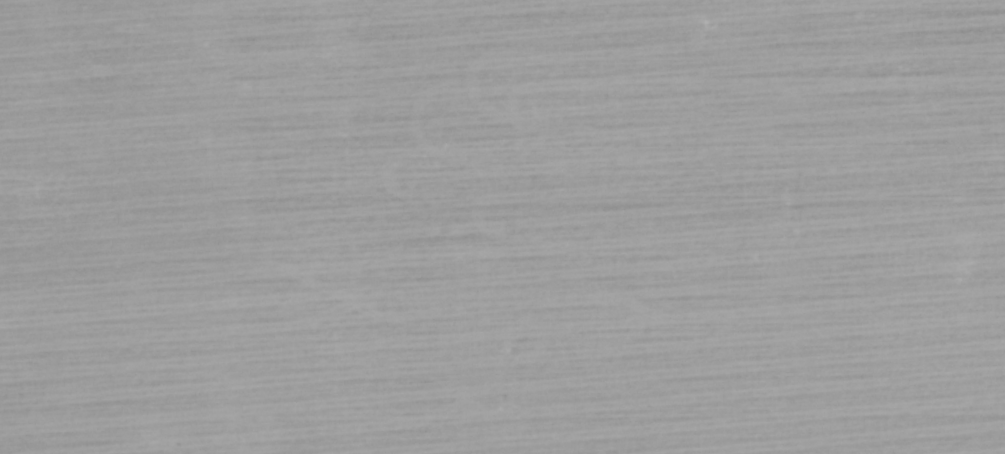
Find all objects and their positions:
crop: (502, 227)

